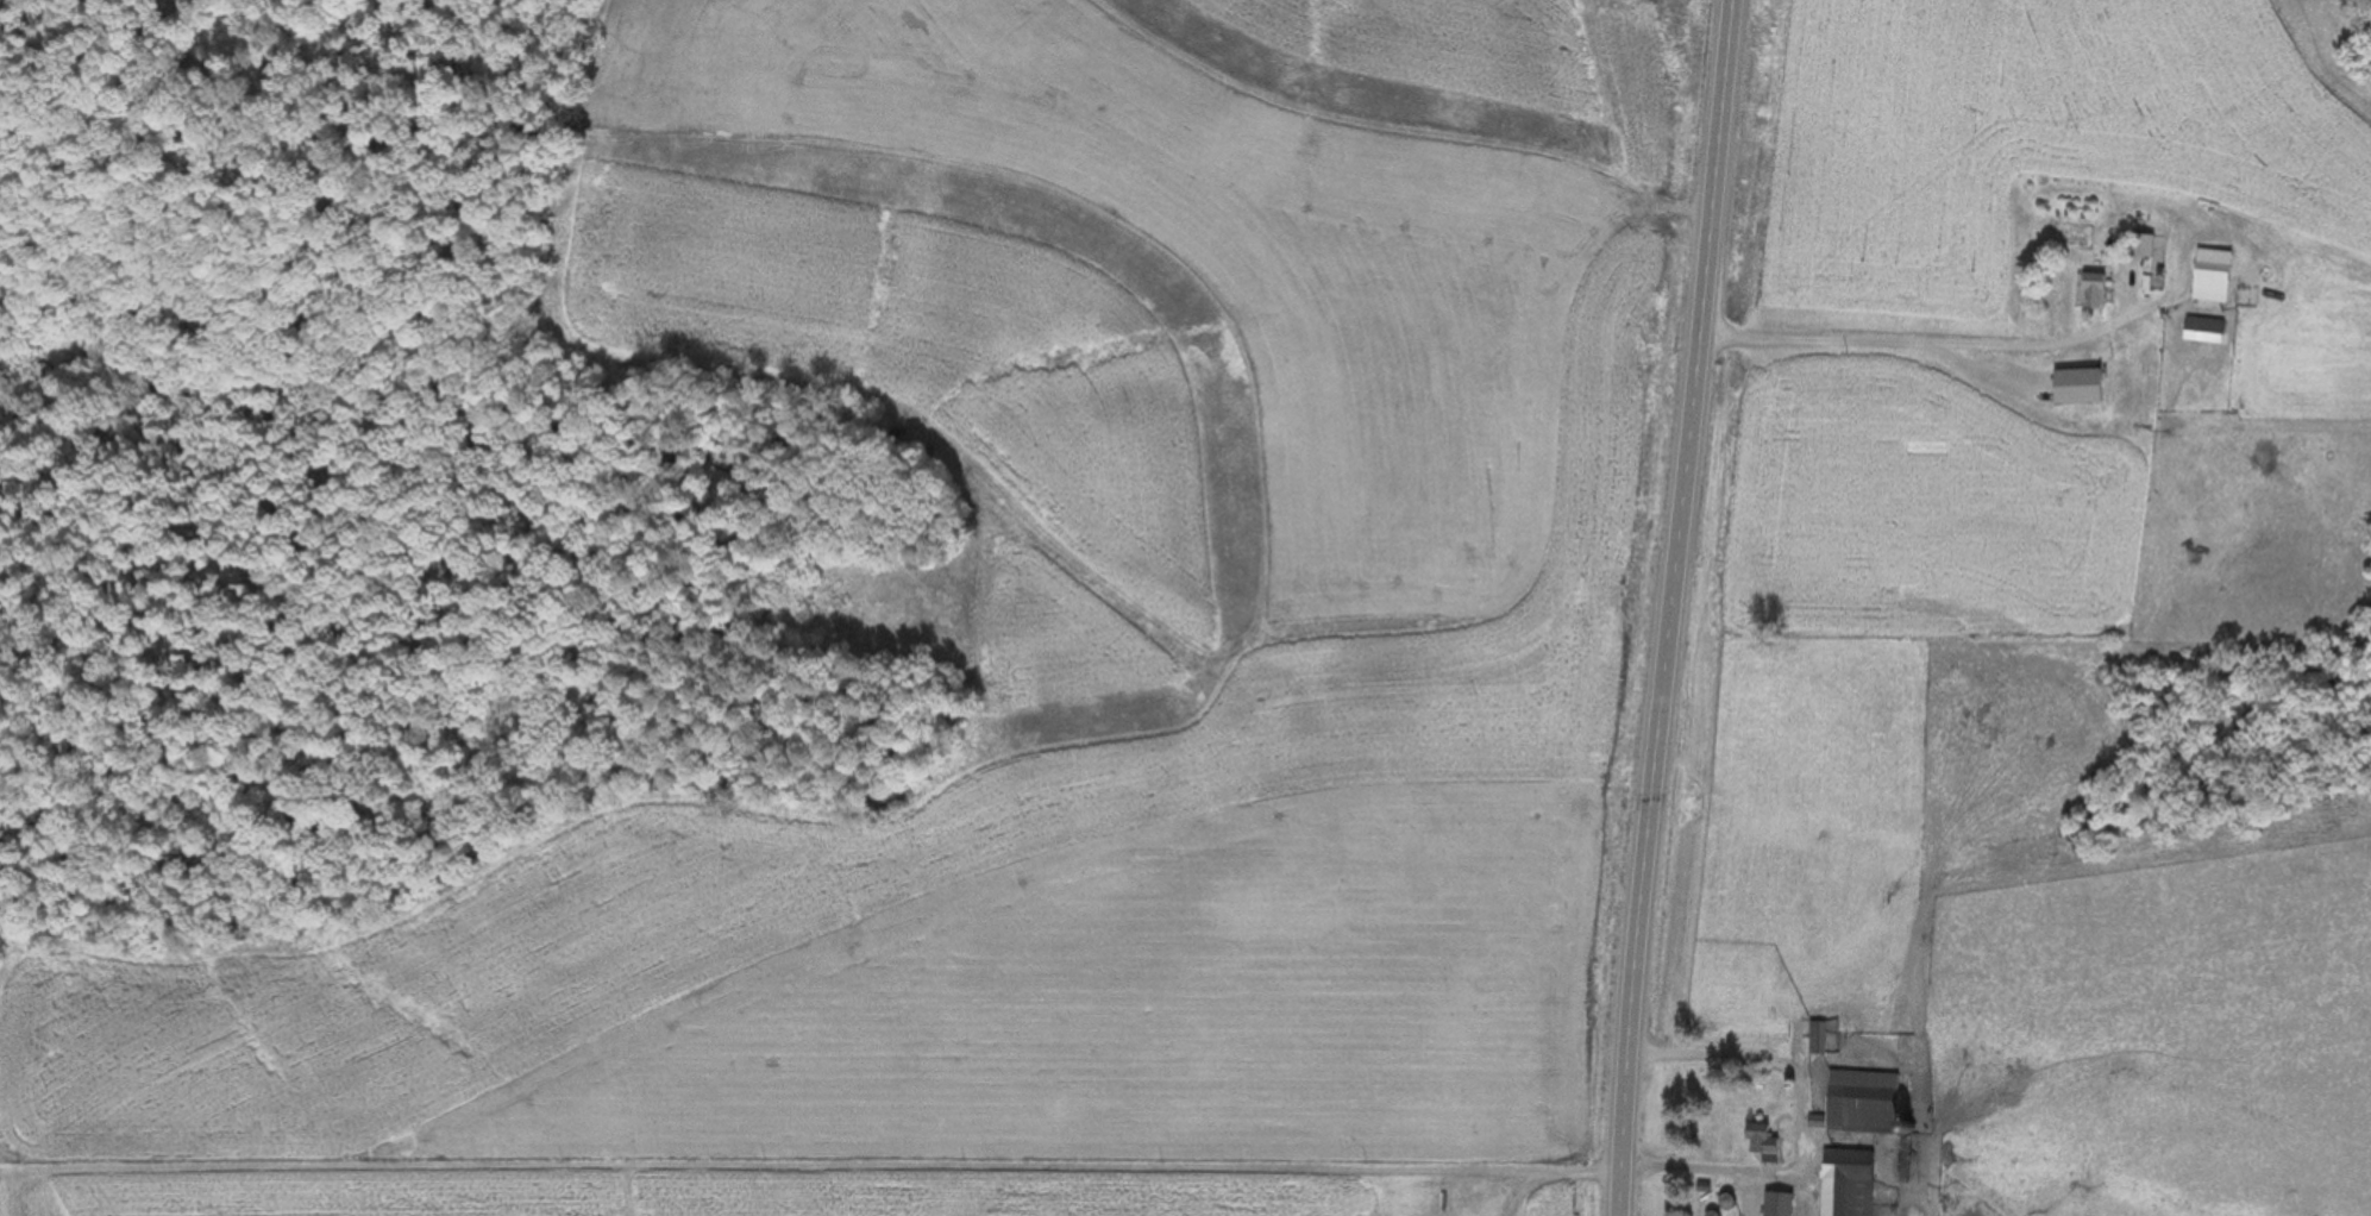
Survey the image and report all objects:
building: (2144, 250)
building: (2207, 278)
building: (2088, 294)
building: (2200, 333)
road: (1915, 338)
building: (2072, 389)
road: (1670, 607)
building: (1815, 1041)
building: (1859, 1087)
building: (1760, 1146)
building: (1845, 1184)
building: (1775, 1205)

